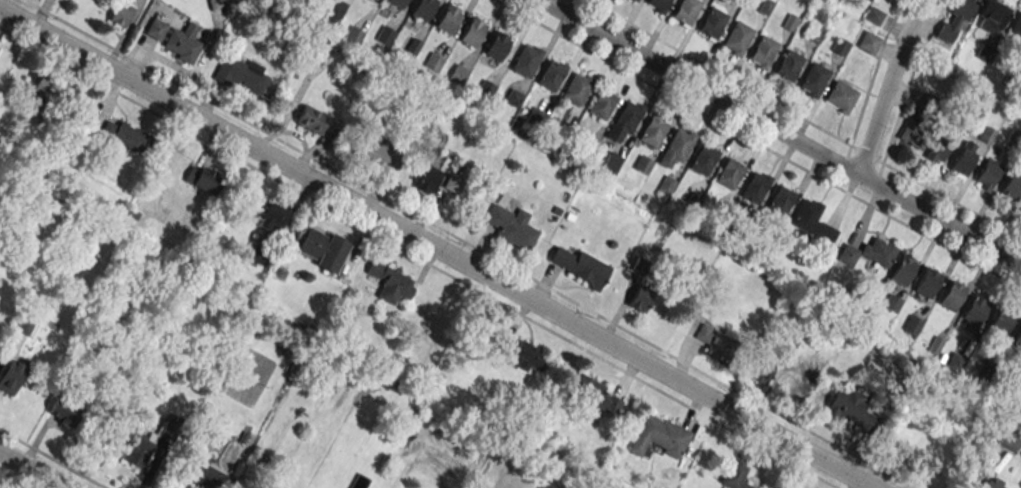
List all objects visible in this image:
building: (634, 0)
building: (310, 1)
building: (231, 2)
building: (396, 3)
building: (657, 3)
building: (764, 6)
building: (335, 7)
building: (422, 9)
building: (685, 10)
building: (121, 13)
building: (872, 15)
building: (992, 16)
building: (448, 18)
building: (955, 20)
building: (711, 22)
building: (1016, 25)
building: (155, 29)
building: (472, 31)
building: (813, 32)
building: (353, 35)
building: (385, 36)
building: (736, 37)
building: (867, 42)
building: (182, 43)
building: (497, 45)
building: (839, 46)
building: (762, 51)
building: (525, 60)
building: (433, 62)
building: (787, 64)
road: (873, 71)
building: (240, 74)
building: (458, 75)
building: (550, 75)
road: (909, 78)
building: (813, 79)
road: (887, 85)
building: (42, 86)
building: (576, 88)
building: (485, 89)
building: (840, 96)
building: (513, 98)
building: (601, 104)
building: (535, 118)
road: (803, 119)
building: (315, 120)
building: (624, 121)
building: (652, 131)
road: (781, 131)
building: (917, 131)
building: (126, 136)
building: (554, 143)
building: (677, 144)
road: (759, 144)
building: (939, 147)
building: (376, 154)
building: (703, 159)
building: (611, 161)
building: (962, 162)
building: (642, 165)
building: (729, 173)
building: (988, 174)
building: (203, 179)
building: (427, 180)
building: (453, 183)
building: (1011, 186)
building: (754, 187)
building: (780, 201)
building: (716, 212)
building: (804, 214)
building: (271, 217)
building: (510, 226)
building: (739, 229)
road: (469, 244)
road: (440, 247)
building: (322, 249)
building: (877, 251)
road: (418, 257)
building: (580, 266)
building: (903, 269)
building: (390, 282)
building: (927, 283)
building: (952, 295)
building: (640, 298)
building: (975, 310)
building: (1000, 322)
building: (912, 324)
building: (1017, 339)
building: (716, 341)
building: (790, 341)
building: (526, 355)
building: (759, 369)
building: (12, 376)
building: (595, 393)
building: (65, 409)
building: (851, 409)
building: (659, 437)
building: (1009, 438)
building: (137, 451)
road: (53, 458)
road: (34, 469)
building: (197, 472)
building: (734, 475)
road: (15, 479)
building: (993, 483)

